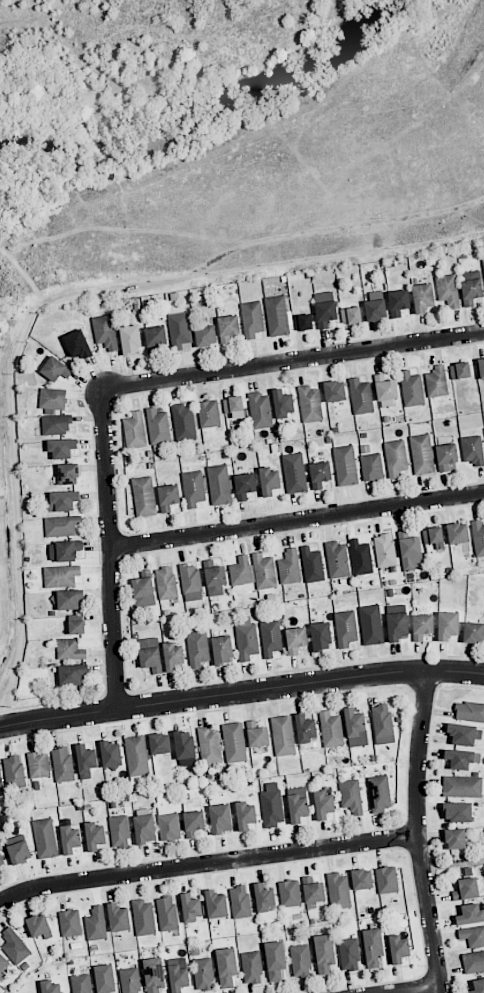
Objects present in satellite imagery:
building: (483, 263)
building: (471, 287)
building: (447, 290)
building: (422, 298)
building: (398, 302)
building: (375, 306)
building: (325, 308)
building: (350, 315)
building: (277, 316)
building: (252, 319)
building: (302, 322)
building: (227, 327)
building: (179, 330)
building: (105, 331)
building: (205, 335)
building: (155, 338)
building: (130, 340)
building: (77, 344)
road: (293, 361)
building: (481, 368)
building: (55, 369)
building: (460, 370)
building: (437, 382)
building: (385, 388)
building: (412, 389)
building: (334, 391)
building: (360, 396)
building: (52, 399)
building: (282, 403)
building: (310, 404)
building: (233, 406)
building: (260, 410)
building: (209, 414)
building: (184, 422)
building: (55, 424)
building: (158, 426)
building: (134, 431)
building: (61, 448)
building: (472, 450)
building: (422, 454)
building: (446, 456)
building: (395, 457)
building: (345, 465)
building: (371, 467)
building: (294, 473)
building: (68, 474)
building: (319, 474)
building: (269, 480)
building: (219, 484)
building: (244, 485)
building: (193, 488)
building: (144, 496)
building: (168, 497)
building: (60, 501)
road: (297, 523)
building: (61, 525)
building: (457, 533)
building: (433, 537)
building: (478, 538)
road: (110, 548)
building: (64, 550)
building: (385, 550)
building: (410, 550)
building: (360, 557)
building: (337, 559)
building: (312, 564)
building: (289, 567)
building: (241, 571)
building: (264, 571)
building: (61, 575)
building: (214, 578)
building: (166, 583)
building: (191, 583)
building: (143, 589)
building: (69, 599)
building: (396, 609)
building: (371, 625)
building: (447, 625)
building: (396, 626)
building: (422, 626)
building: (76, 627)
building: (345, 628)
building: (473, 632)
building: (321, 636)
building: (246, 638)
building: (270, 638)
building: (296, 639)
building: (197, 648)
building: (70, 649)
building: (222, 650)
building: (150, 654)
building: (173, 656)
building: (72, 674)
road: (241, 692)
building: (469, 711)
building: (382, 724)
building: (305, 728)
building: (355, 728)
building: (331, 729)
building: (464, 734)
building: (257, 735)
building: (283, 736)
building: (234, 742)
building: (160, 743)
building: (209, 745)
building: (184, 747)
building: (110, 754)
building: (137, 755)
building: (461, 758)
building: (85, 760)
building: (38, 764)
building: (62, 764)
building: (14, 772)
building: (1, 783)
building: (462, 786)
building: (379, 793)
building: (351, 796)
building: (297, 804)
building: (272, 805)
building: (324, 805)
building: (458, 811)
building: (245, 815)
building: (220, 818)
building: (193, 823)
building: (169, 827)
building: (144, 829)
building: (119, 831)
road: (418, 832)
building: (94, 836)
building: (45, 838)
building: (70, 839)
building: (455, 839)
building: (19, 852)
building: (2, 862)
road: (208, 866)
building: (362, 879)
building: (387, 880)
building: (466, 889)
building: (338, 890)
building: (290, 893)
building: (240, 902)
building: (265, 902)
building: (215, 904)
building: (191, 908)
building: (167, 913)
building: (470, 914)
building: (118, 917)
building: (143, 917)
building: (70, 923)
building: (96, 924)
building: (39, 926)
building: (472, 936)
building: (15, 946)
building: (372, 946)
building: (399, 949)
building: (324, 953)
building: (349, 954)
building: (275, 960)
building: (300, 961)
building: (3, 962)
building: (473, 962)
building: (226, 967)
building: (251, 967)
building: (153, 974)
building: (203, 974)
building: (104, 978)
building: (178, 978)
building: (129, 980)
building: (81, 983)
building: (478, 986)
building: (50, 987)
road: (424, 990)

